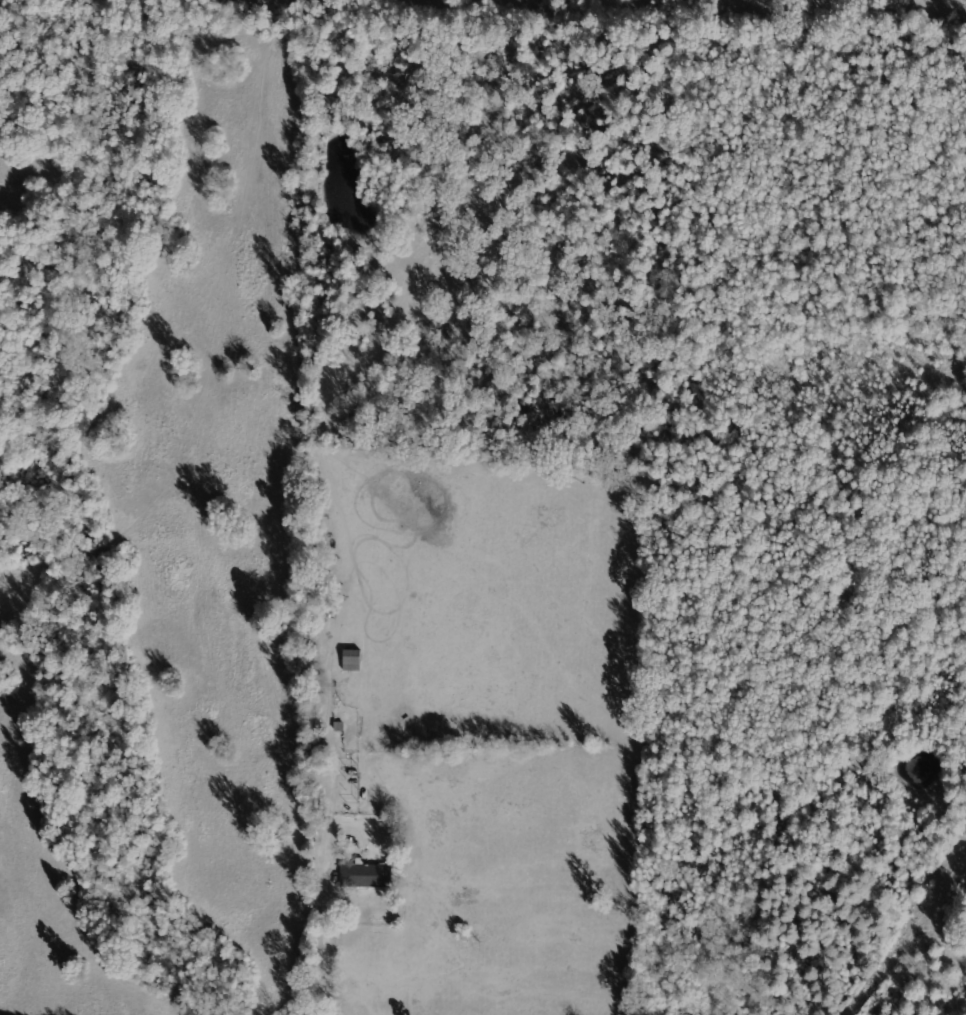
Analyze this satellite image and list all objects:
road: (948, 640)
building: (352, 660)

